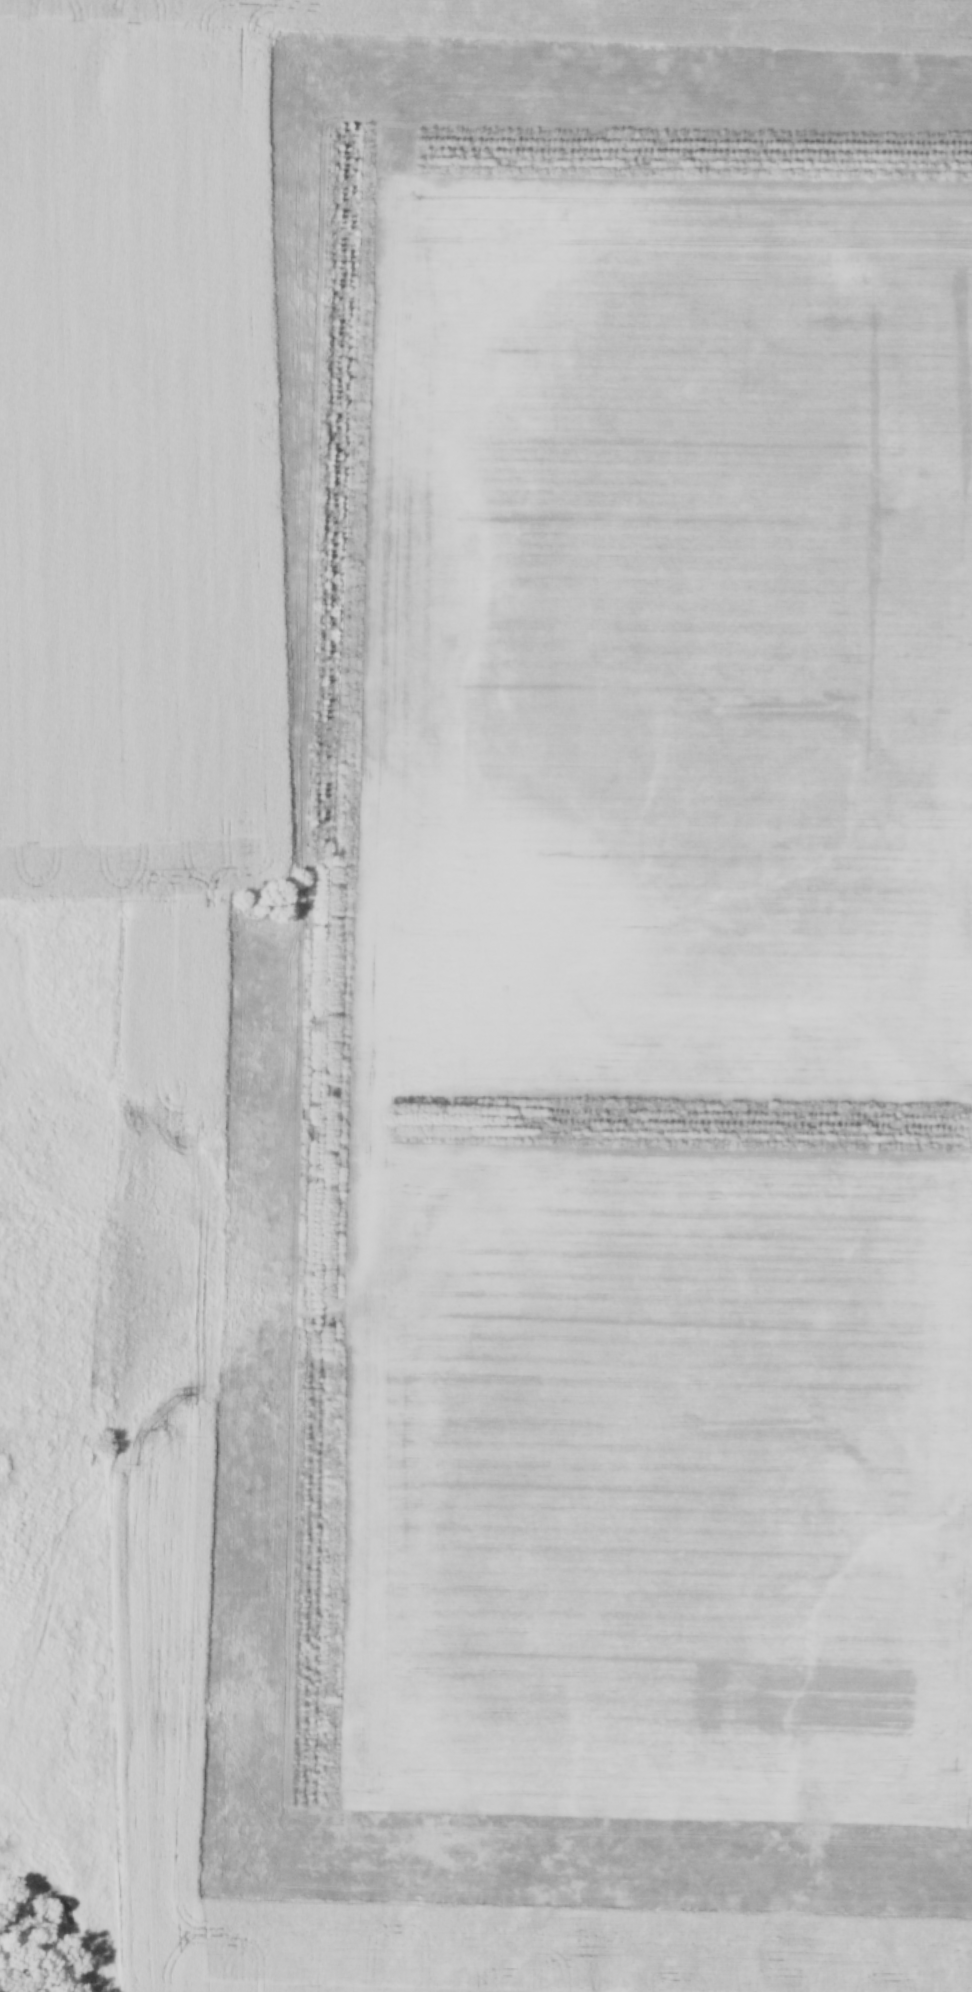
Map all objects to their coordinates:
road: (323, 1563)

